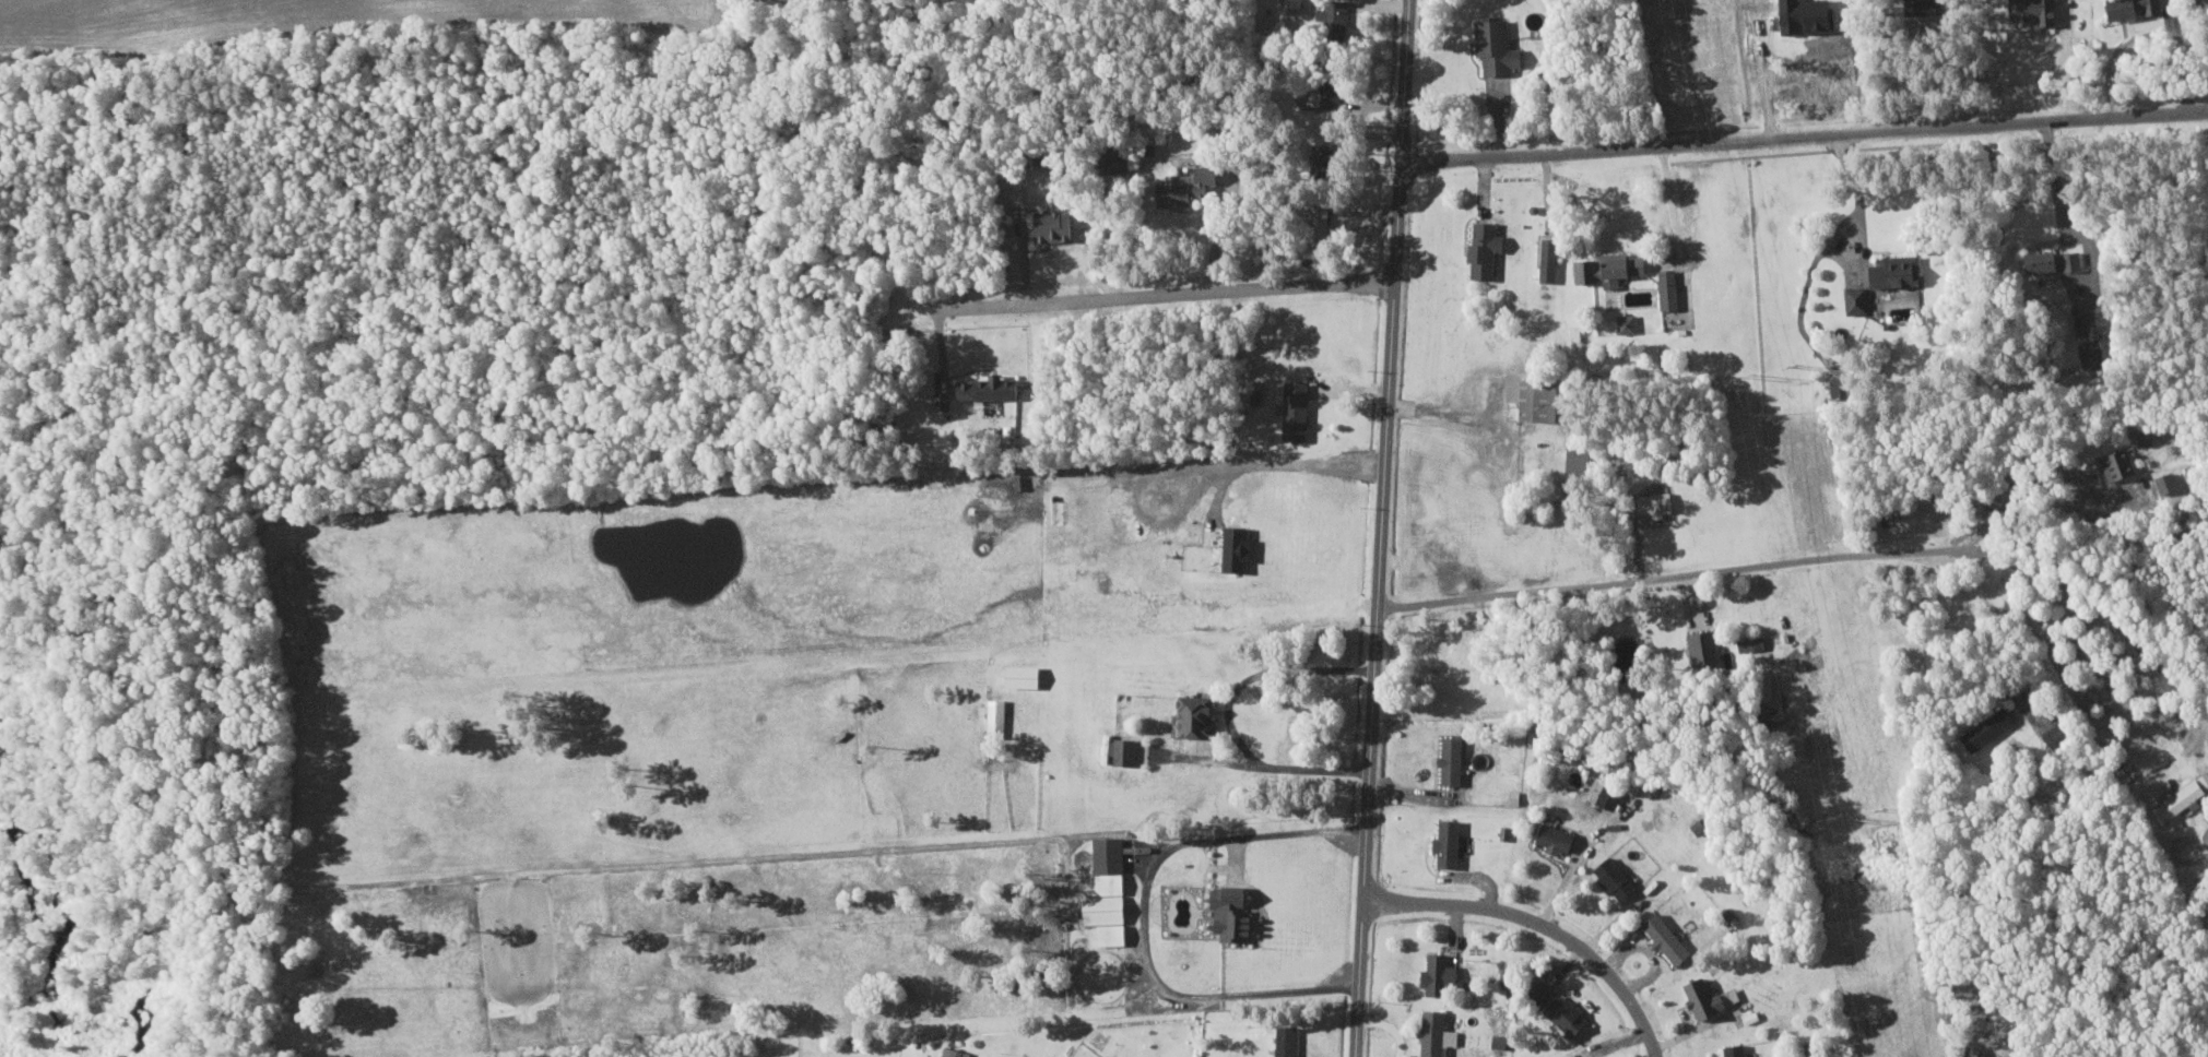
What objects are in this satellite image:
building: (1295, 2)
building: (2122, 8)
building: (2027, 10)
building: (1336, 15)
building: (1500, 47)
building: (1329, 95)
road: (1804, 135)
building: (1190, 186)
building: (1056, 226)
building: (1488, 249)
building: (1551, 259)
building: (2044, 260)
building: (1613, 268)
building: (1888, 270)
road: (1165, 294)
building: (1852, 299)
building: (1629, 323)
building: (2085, 342)
power tower: (1793, 365)
power tower: (1746, 375)
building: (992, 387)
building: (1535, 397)
building: (1299, 409)
building: (1582, 456)
building: (2113, 462)
building: (1654, 503)
road: (1381, 527)
building: (1240, 547)
road: (1681, 573)
road: (1974, 589)
building: (1707, 646)
building: (1025, 675)
building: (997, 714)
building: (1200, 715)
building: (1982, 728)
building: (2046, 735)
building: (1127, 750)
building: (1455, 760)
building: (2175, 799)
power tower: (1880, 807)
power tower: (1834, 815)
building: (1559, 838)
building: (1452, 842)
building: (1111, 864)
building: (1617, 878)
building: (1107, 907)
road: (1144, 912)
building: (1237, 912)
road: (1538, 924)
building: (1113, 934)
building: (1668, 937)
building: (1441, 972)
building: (1508, 977)
building: (1713, 997)
building: (1569, 1014)
building: (1439, 1033)
building: (1289, 1041)
building: (1737, 1050)
building: (1968, 1052)

